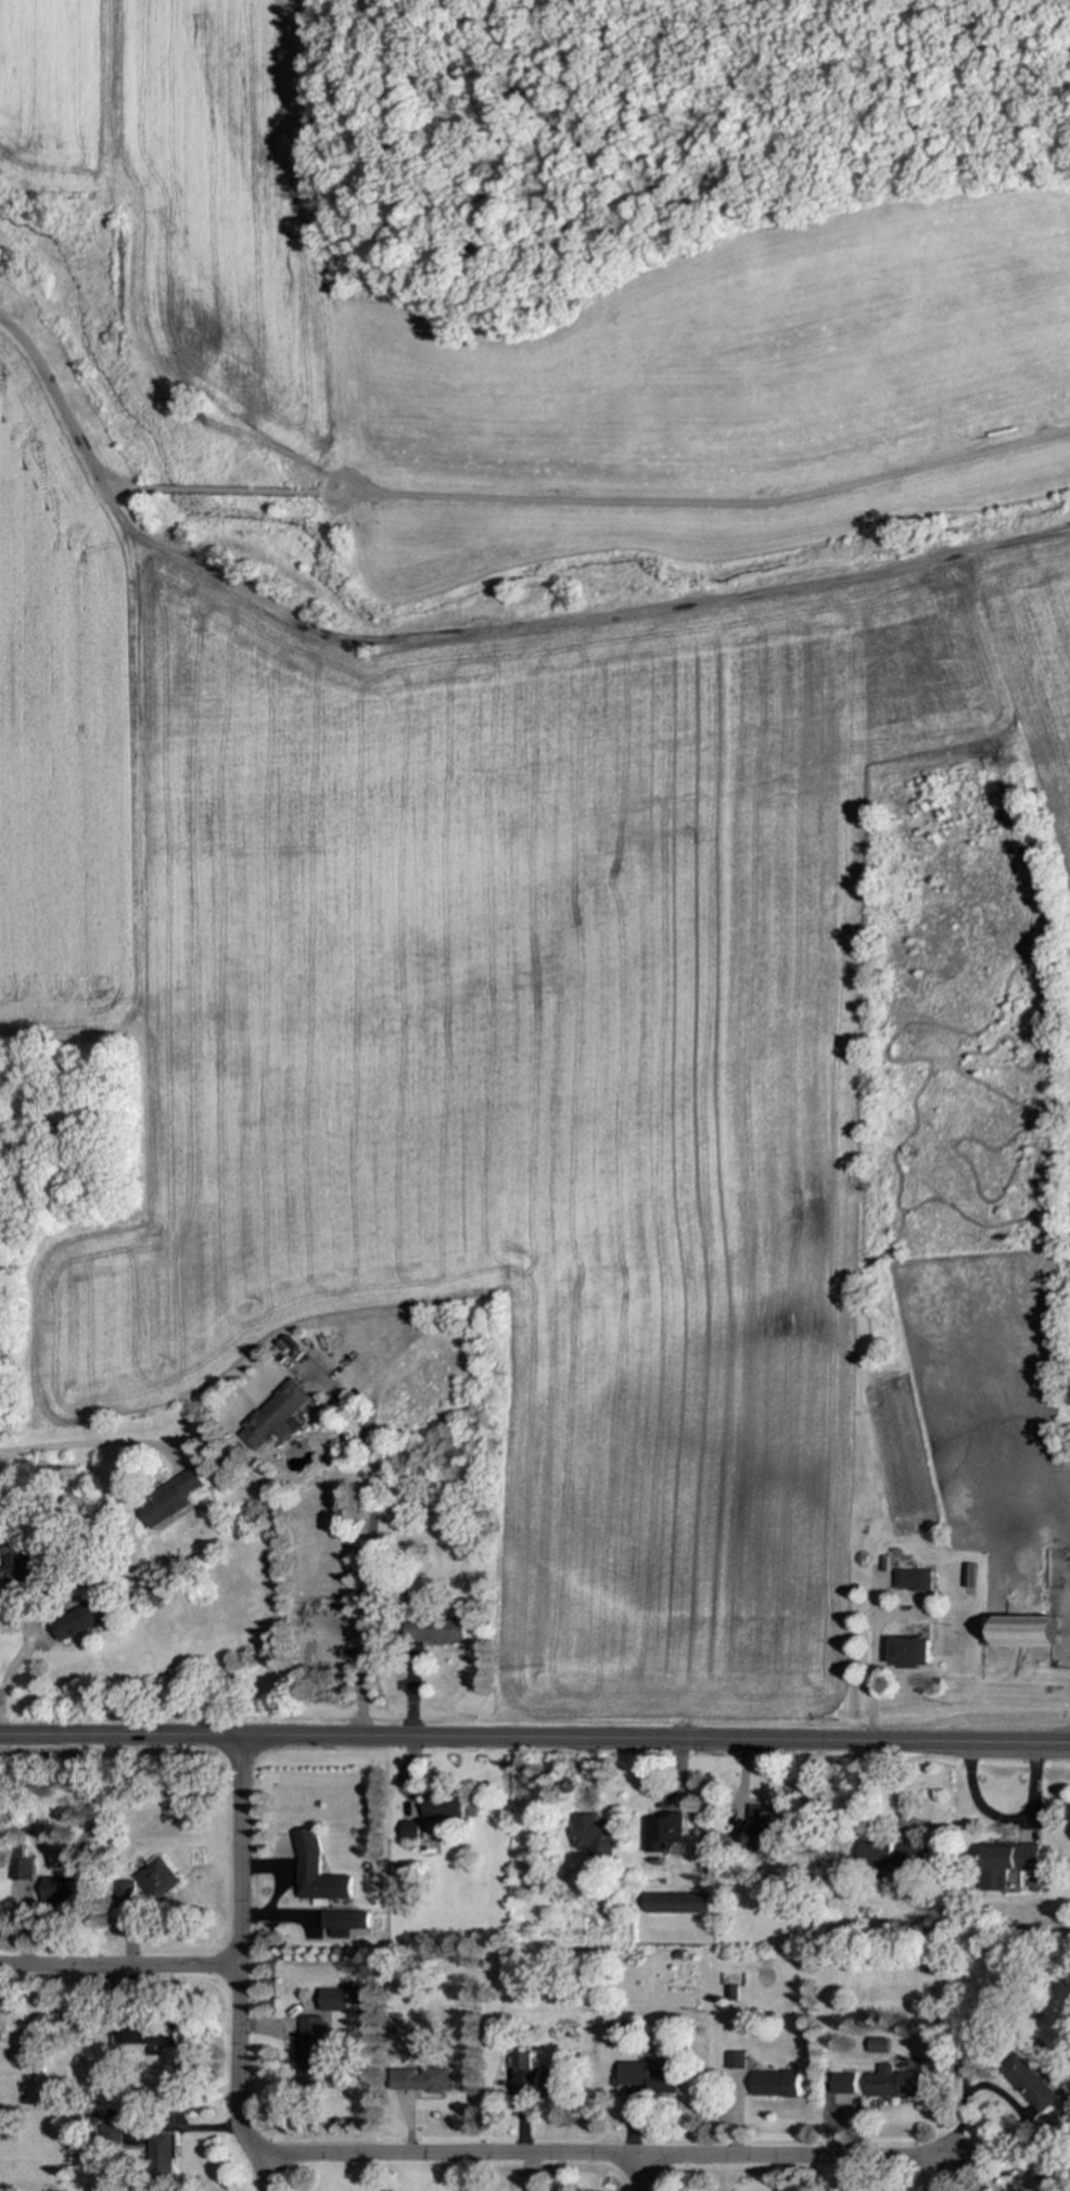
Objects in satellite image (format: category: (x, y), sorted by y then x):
road: (493, 497)
crop: (531, 819)
building: (276, 1416)
road: (73, 1447)
building: (171, 1500)
building: (14, 1559)
road: (362, 1563)
building: (969, 1575)
building: (913, 1579)
building: (81, 1620)
building: (433, 1631)
building: (1020, 1631)
building: (910, 1652)
road: (16, 1659)
road: (876, 1666)
road: (119, 1737)
road: (654, 1740)
building: (442, 1807)
road: (1006, 1821)
building: (762, 1827)
building: (409, 1831)
building: (661, 1831)
building: (594, 1835)
building: (892, 1854)
building: (1006, 1862)
building: (18, 1870)
building: (316, 1871)
road: (284, 1873)
building: (155, 1878)
building: (55, 1889)
building: (122, 1890)
building: (676, 1902)
road: (282, 1915)
building: (343, 1923)
road: (118, 1966)
road: (238, 1966)
building: (356, 1997)
building: (332, 1999)
building: (614, 2034)
building: (145, 2036)
building: (877, 2046)
building: (309, 2050)
building: (519, 2060)
building: (734, 2060)
building: (646, 2076)
building: (420, 2079)
building: (549, 2080)
building: (892, 2082)
building: (1028, 2082)
building: (774, 2084)
building: (842, 2084)
road: (1006, 2102)
building: (107, 2133)
building: (158, 2156)
road: (606, 2156)
building: (1035, 2171)
road: (638, 2174)

